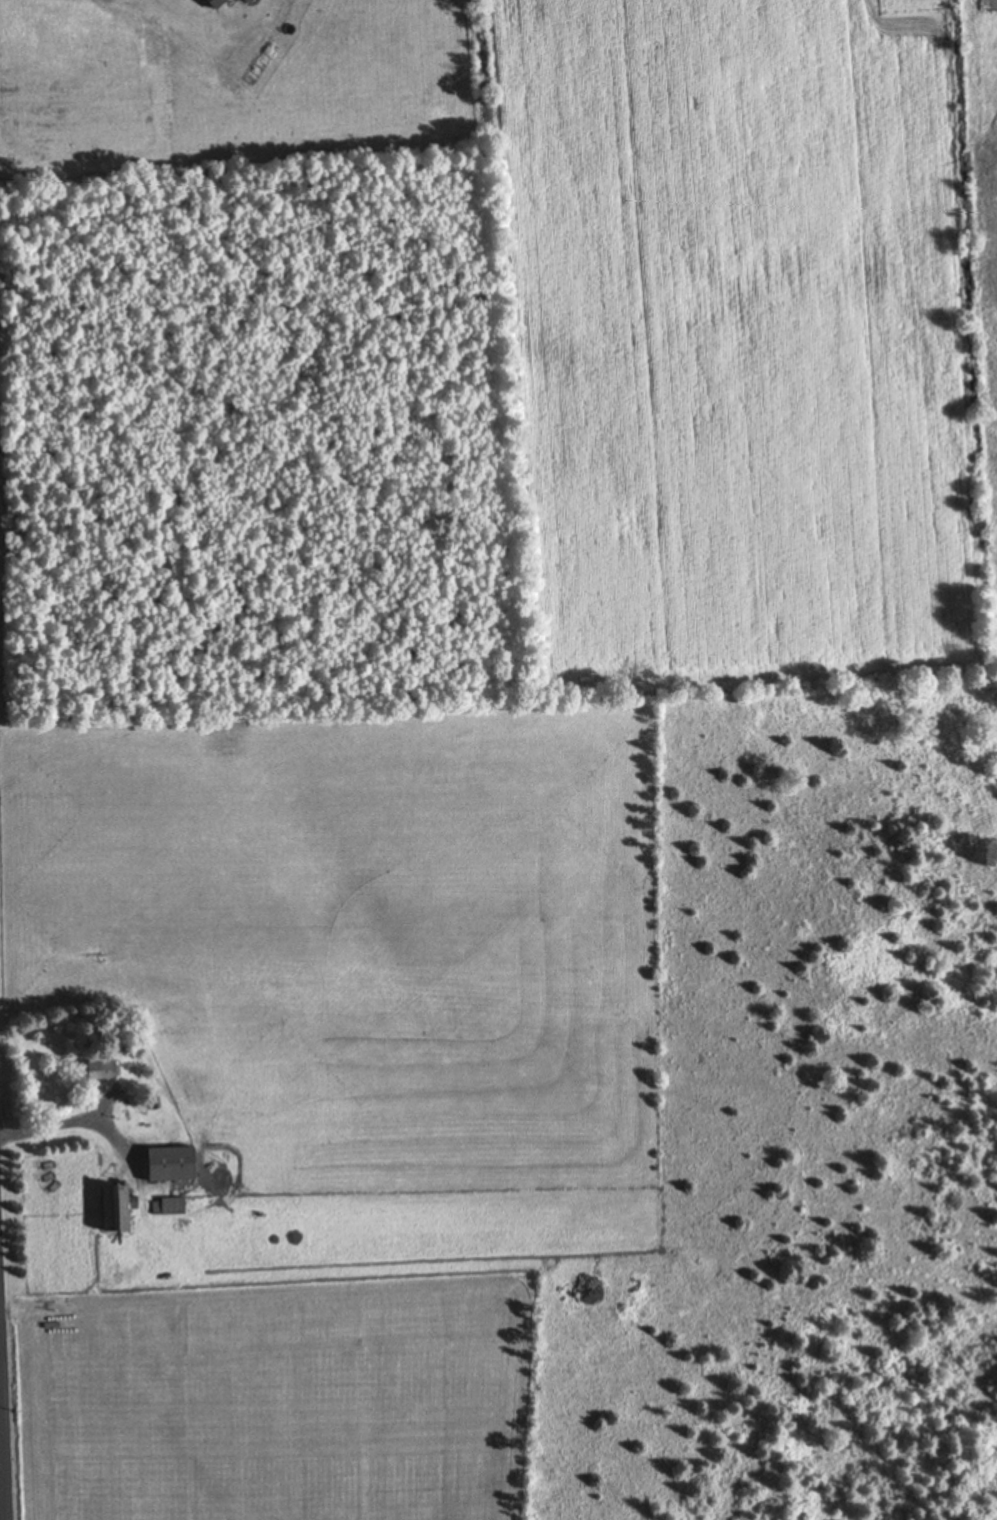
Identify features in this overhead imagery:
building: (100, 1072)
building: (169, 1166)
building: (168, 1208)
building: (115, 1210)
road: (2, 1438)

